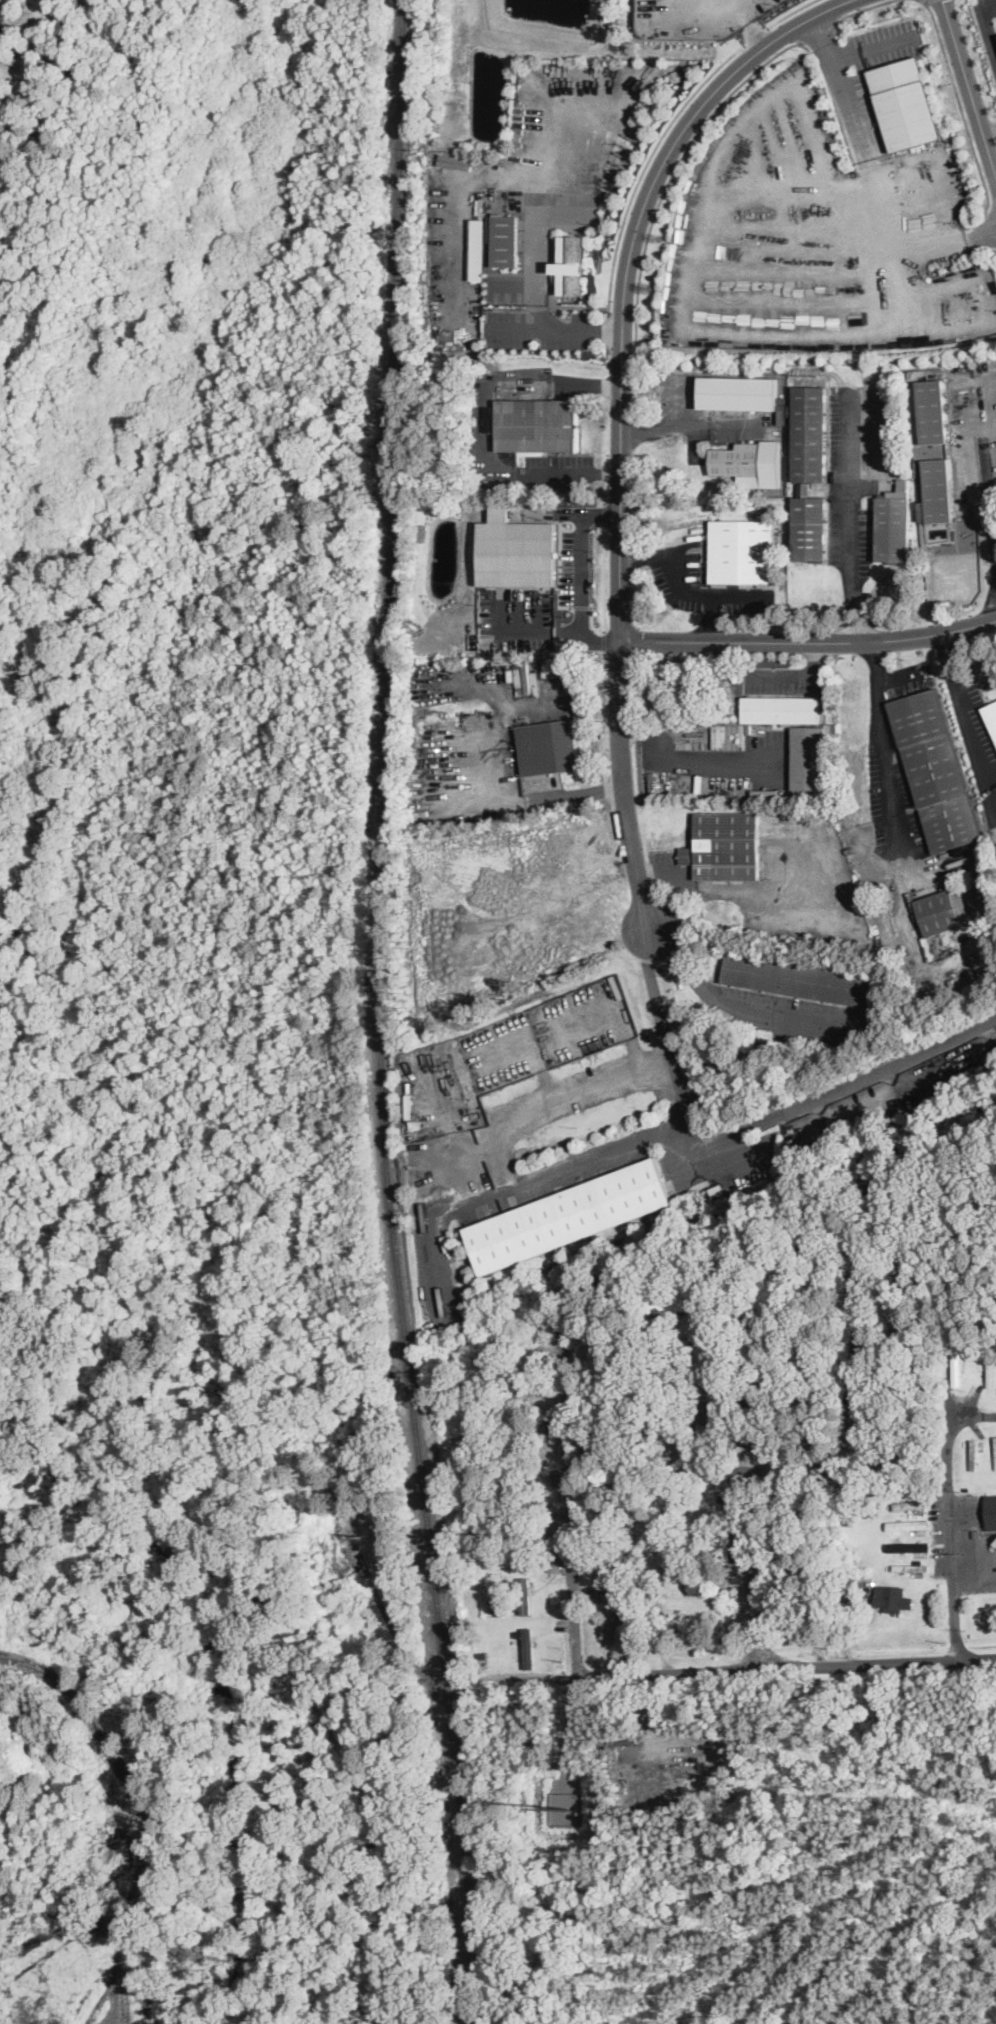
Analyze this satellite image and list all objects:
building: (2, 9)
road: (857, 9)
road: (986, 24)
road: (818, 31)
road: (871, 48)
road: (840, 84)
road: (969, 92)
building: (905, 103)
road: (958, 105)
road: (668, 129)
road: (988, 130)
road: (675, 172)
building: (508, 239)
building: (480, 248)
road: (537, 262)
building: (574, 265)
road: (626, 274)
road: (556, 327)
building: (742, 394)
road: (675, 402)
building: (931, 410)
building: (537, 424)
road: (738, 424)
road: (665, 428)
building: (808, 432)
building: (736, 459)
road: (572, 473)
road: (987, 477)
building: (938, 489)
road: (604, 512)
road: (849, 520)
building: (809, 527)
building: (892, 528)
building: (741, 551)
building: (518, 552)
road: (578, 555)
road: (645, 557)
road: (604, 576)
road: (706, 593)
road: (710, 617)
road: (553, 639)
road: (808, 641)
road: (800, 675)
building: (780, 708)
building: (991, 713)
road: (967, 723)
building: (546, 746)
road: (885, 749)
building: (807, 756)
road: (690, 758)
building: (935, 769)
road: (583, 790)
building: (724, 845)
road: (717, 888)
building: (943, 910)
building: (802, 978)
road: (727, 1000)
railway: (378, 1014)
road: (671, 1062)
road: (500, 1154)
building: (567, 1214)
building: (671, 1305)
building: (991, 1365)
road: (862, 1388)
road: (738, 1474)
road: (569, 1504)
building: (910, 1505)
building: (990, 1511)
road: (953, 1517)
building: (915, 1526)
building: (911, 1567)
building: (523, 1595)
building: (891, 1597)
road: (787, 1666)

